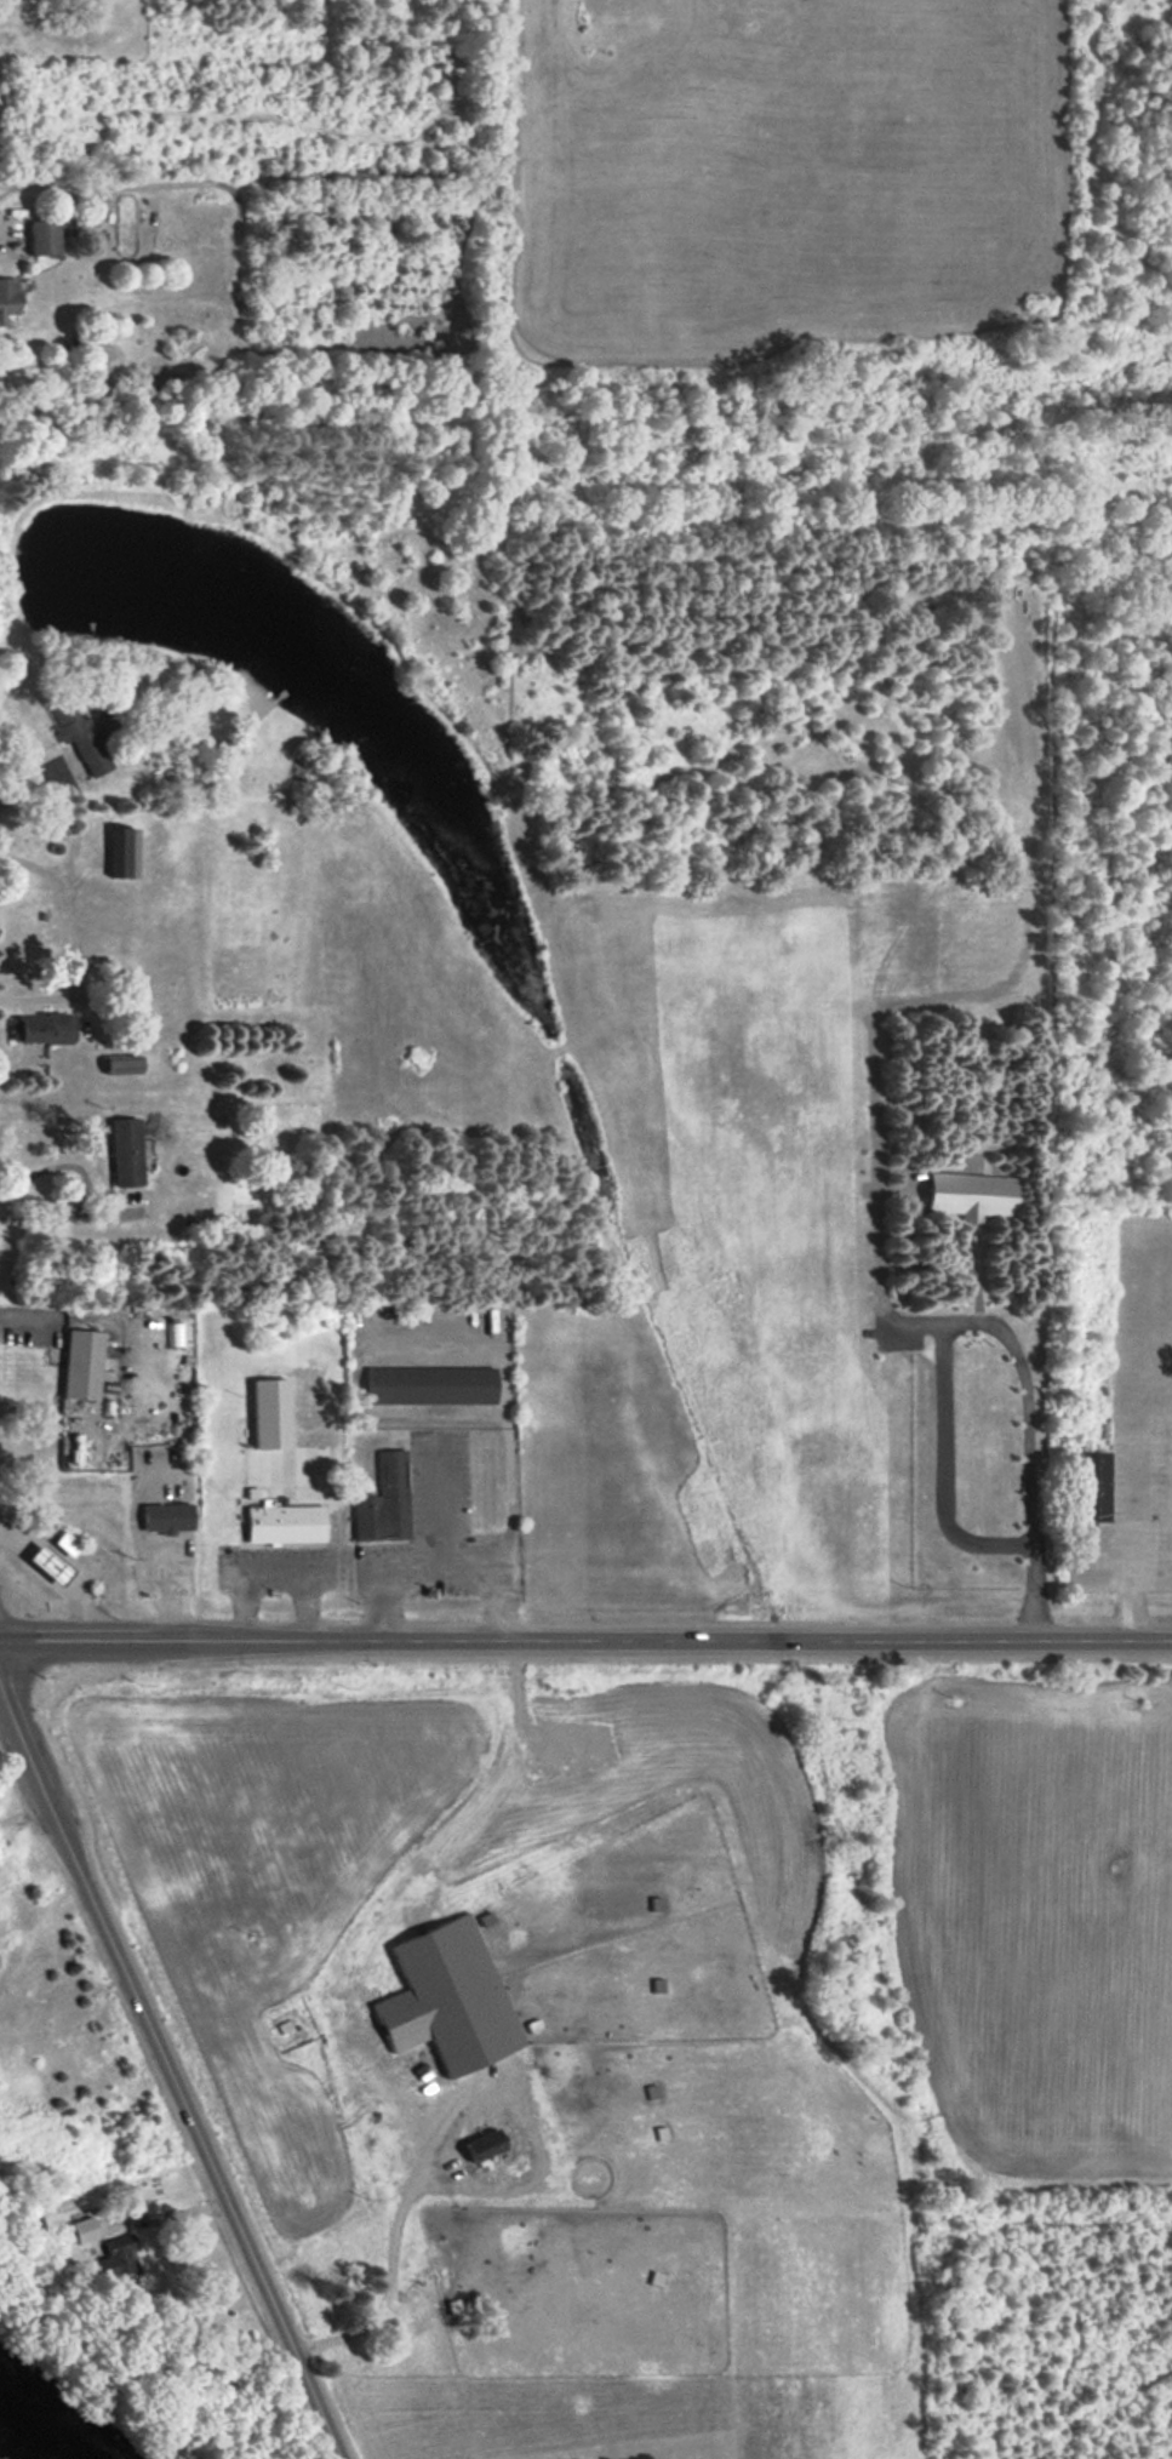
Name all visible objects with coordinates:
building: (44, 236)
road: (2, 247)
building: (7, 297)
building: (82, 732)
building: (228, 753)
road: (32, 778)
building: (41, 1028)
building: (121, 1065)
building: (124, 1151)
road: (86, 1185)
building: (970, 1195)
road: (27, 1316)
building: (175, 1333)
building: (81, 1363)
building: (430, 1384)
building: (269, 1412)
road: (1028, 1468)
building: (1093, 1486)
building: (383, 1500)
building: (166, 1516)
building: (284, 1523)
building: (65, 1543)
building: (47, 1563)
road: (450, 1566)
road: (389, 1586)
road: (585, 1639)
building: (447, 1997)
road: (170, 2071)
building: (482, 2144)
road: (164, 2217)
building: (81, 2229)
road: (391, 2248)
building: (113, 2259)
river: (1, 2457)

